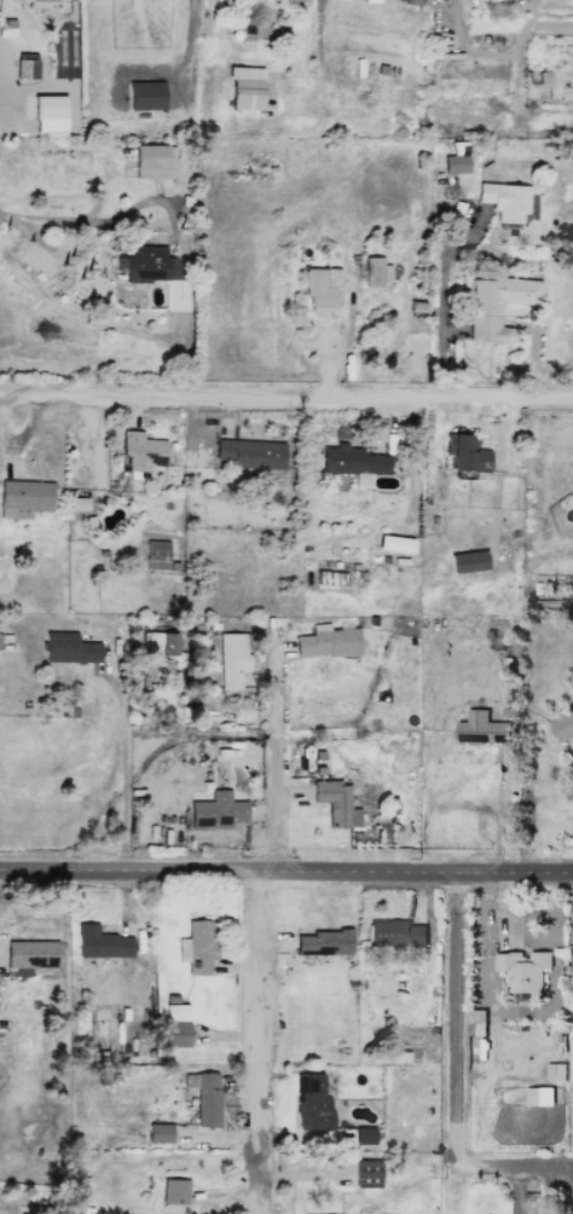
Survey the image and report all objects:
building: (46, 0)
building: (410, 1)
building: (25, 69)
building: (244, 88)
building: (145, 96)
building: (48, 115)
building: (154, 162)
building: (455, 164)
building: (504, 201)
road: (102, 220)
building: (149, 265)
building: (375, 270)
building: (320, 289)
road: (445, 296)
building: (496, 306)
road: (284, 394)
building: (139, 451)
building: (250, 453)
building: (465, 453)
building: (353, 463)
building: (23, 498)
building: (394, 544)
building: (156, 555)
building: (468, 561)
building: (326, 642)
building: (158, 643)
building: (68, 648)
building: (231, 659)
road: (123, 716)
building: (563, 725)
building: (481, 728)
road: (277, 753)
building: (335, 803)
building: (216, 811)
road: (499, 813)
road: (286, 873)
building: (395, 932)
building: (324, 942)
building: (100, 943)
building: (197, 947)
building: (30, 955)
building: (523, 970)
building: (482, 1022)
building: (175, 1025)
road: (260, 1044)
building: (556, 1071)
road: (457, 1076)
building: (539, 1096)
building: (204, 1097)
building: (322, 1115)
building: (158, 1133)
building: (366, 1173)
building: (174, 1191)

